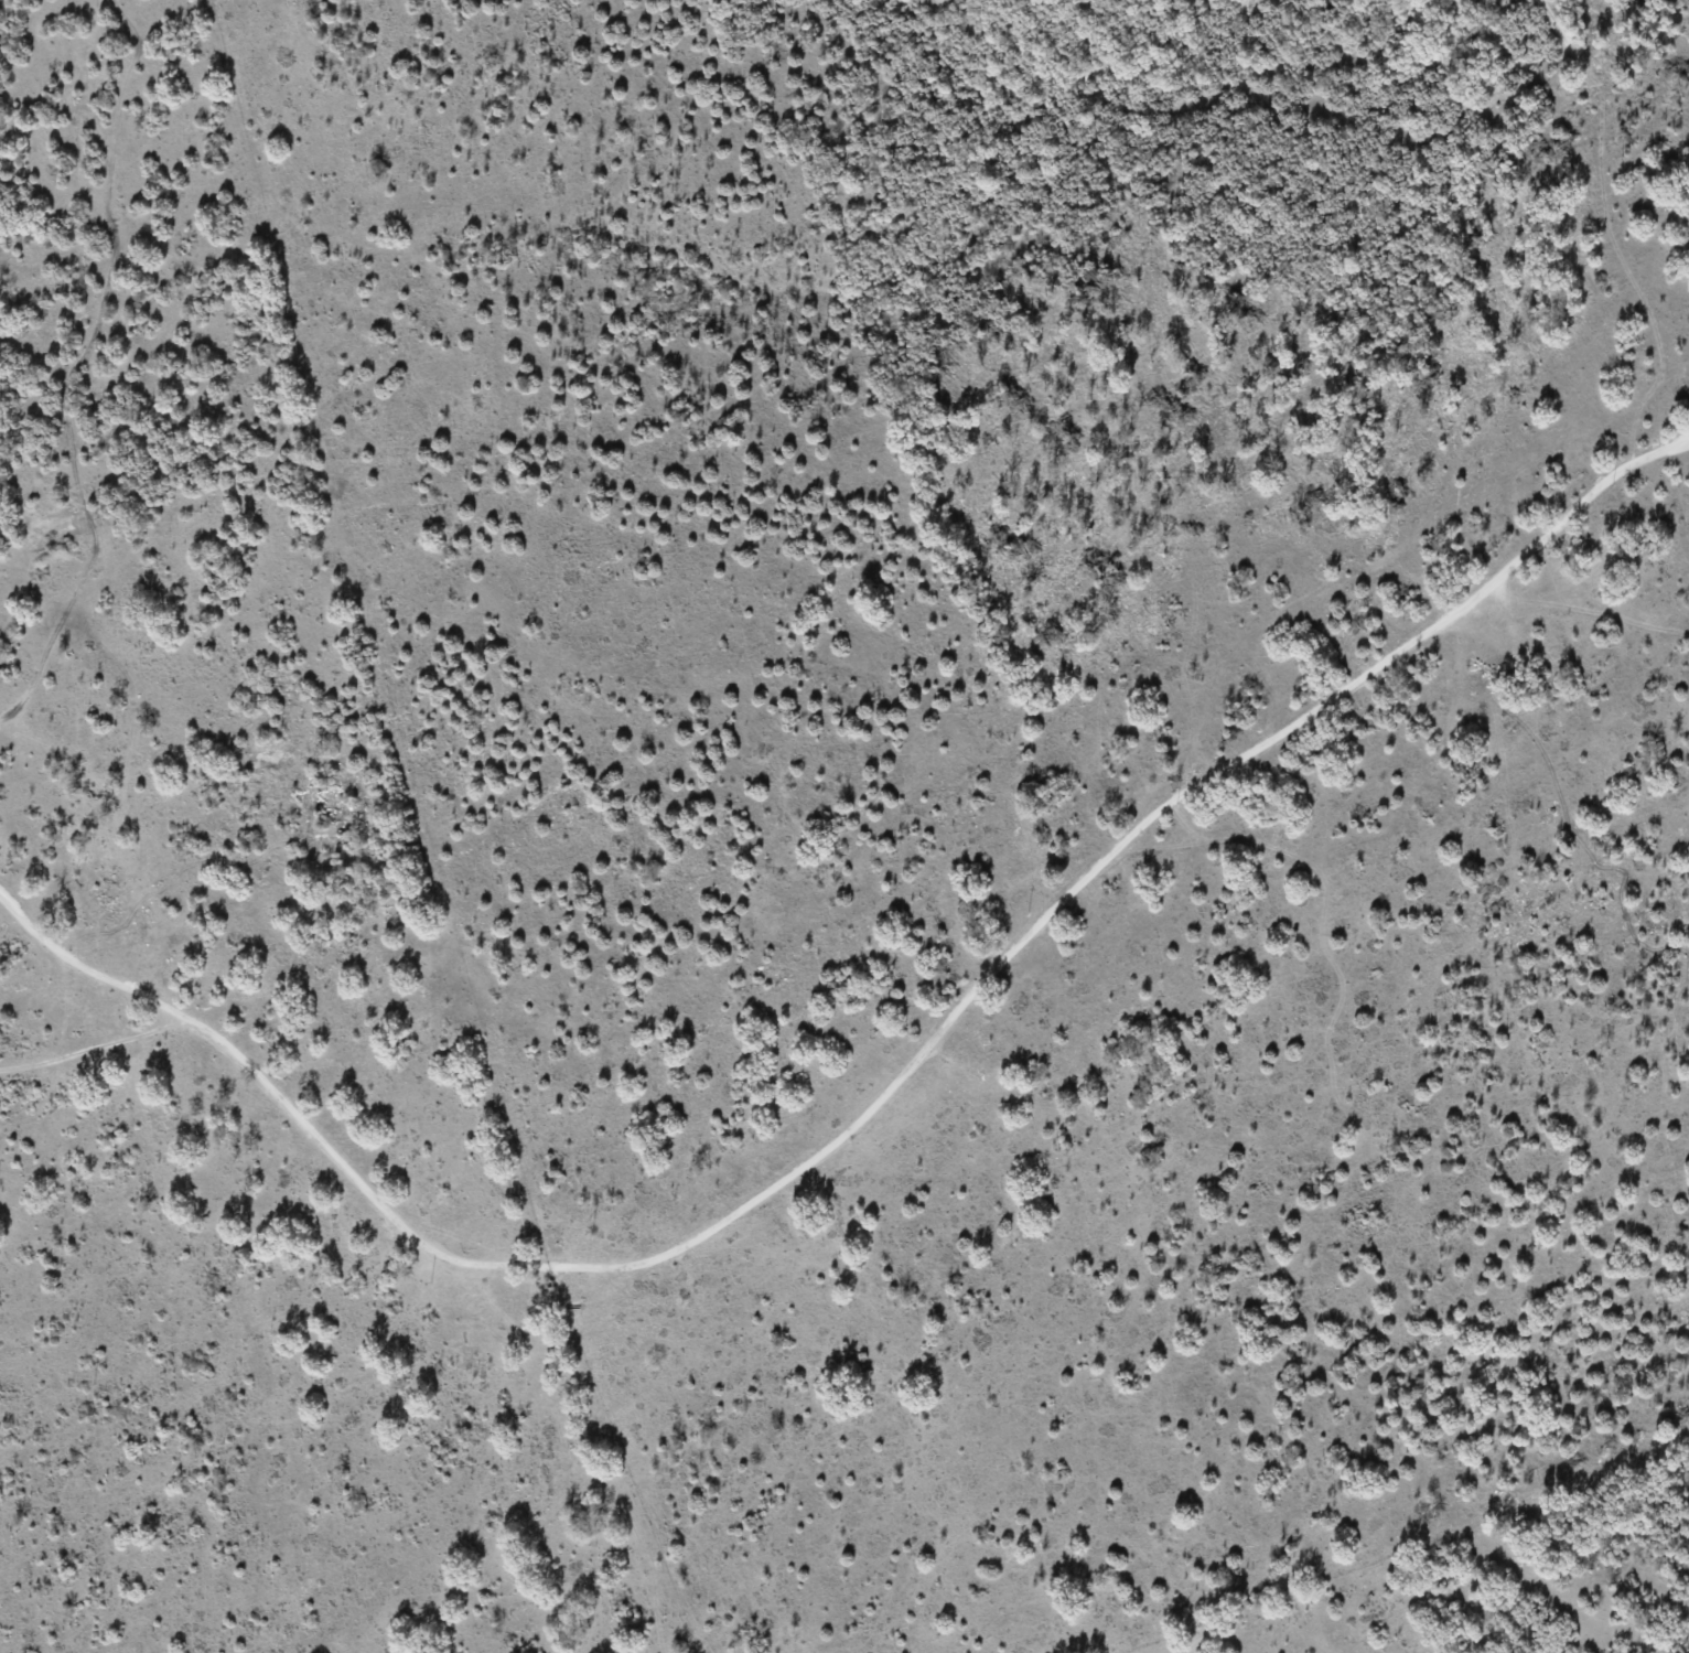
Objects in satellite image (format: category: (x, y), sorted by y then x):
road: (874, 1104)

